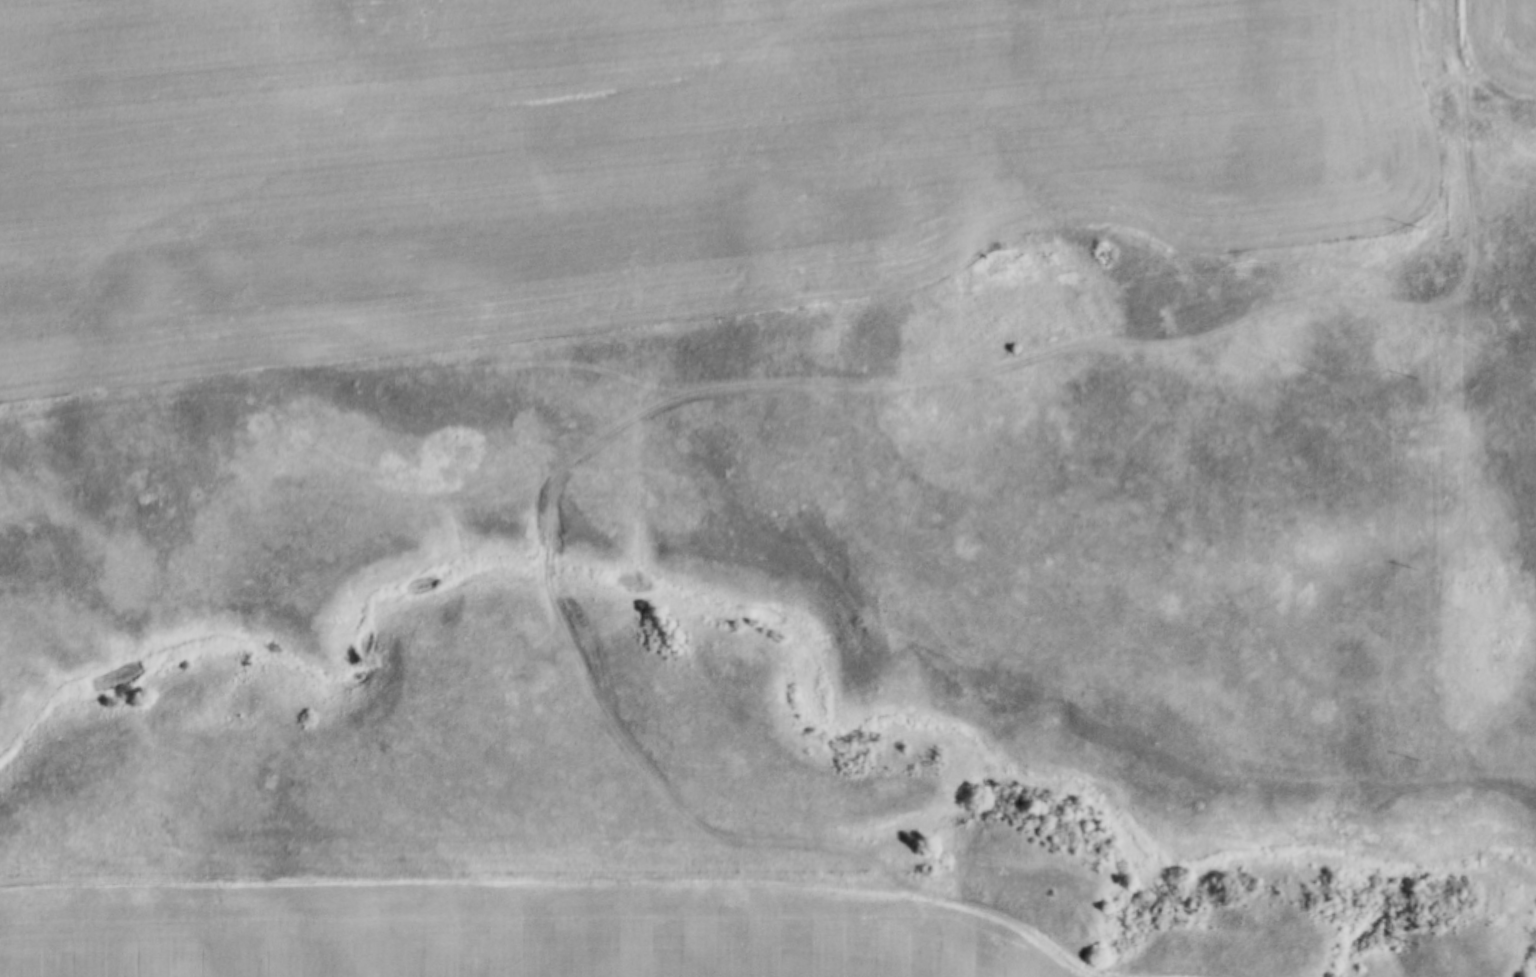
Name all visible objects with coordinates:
road: (1459, 30)
road: (804, 388)
road: (576, 770)

